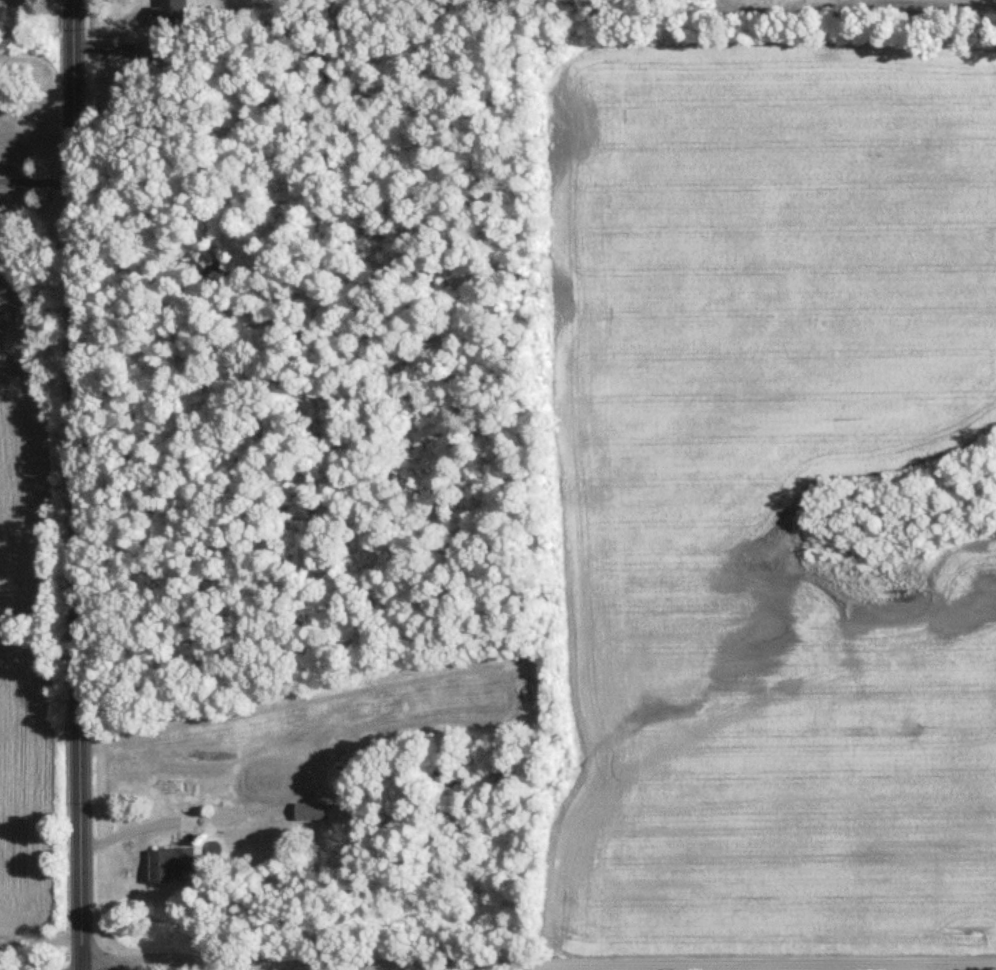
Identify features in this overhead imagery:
building: (120, 26)
building: (158, 55)
road: (37, 181)
road: (76, 485)
building: (312, 812)
building: (171, 864)
road: (40, 937)
road: (503, 965)
road: (940, 966)

